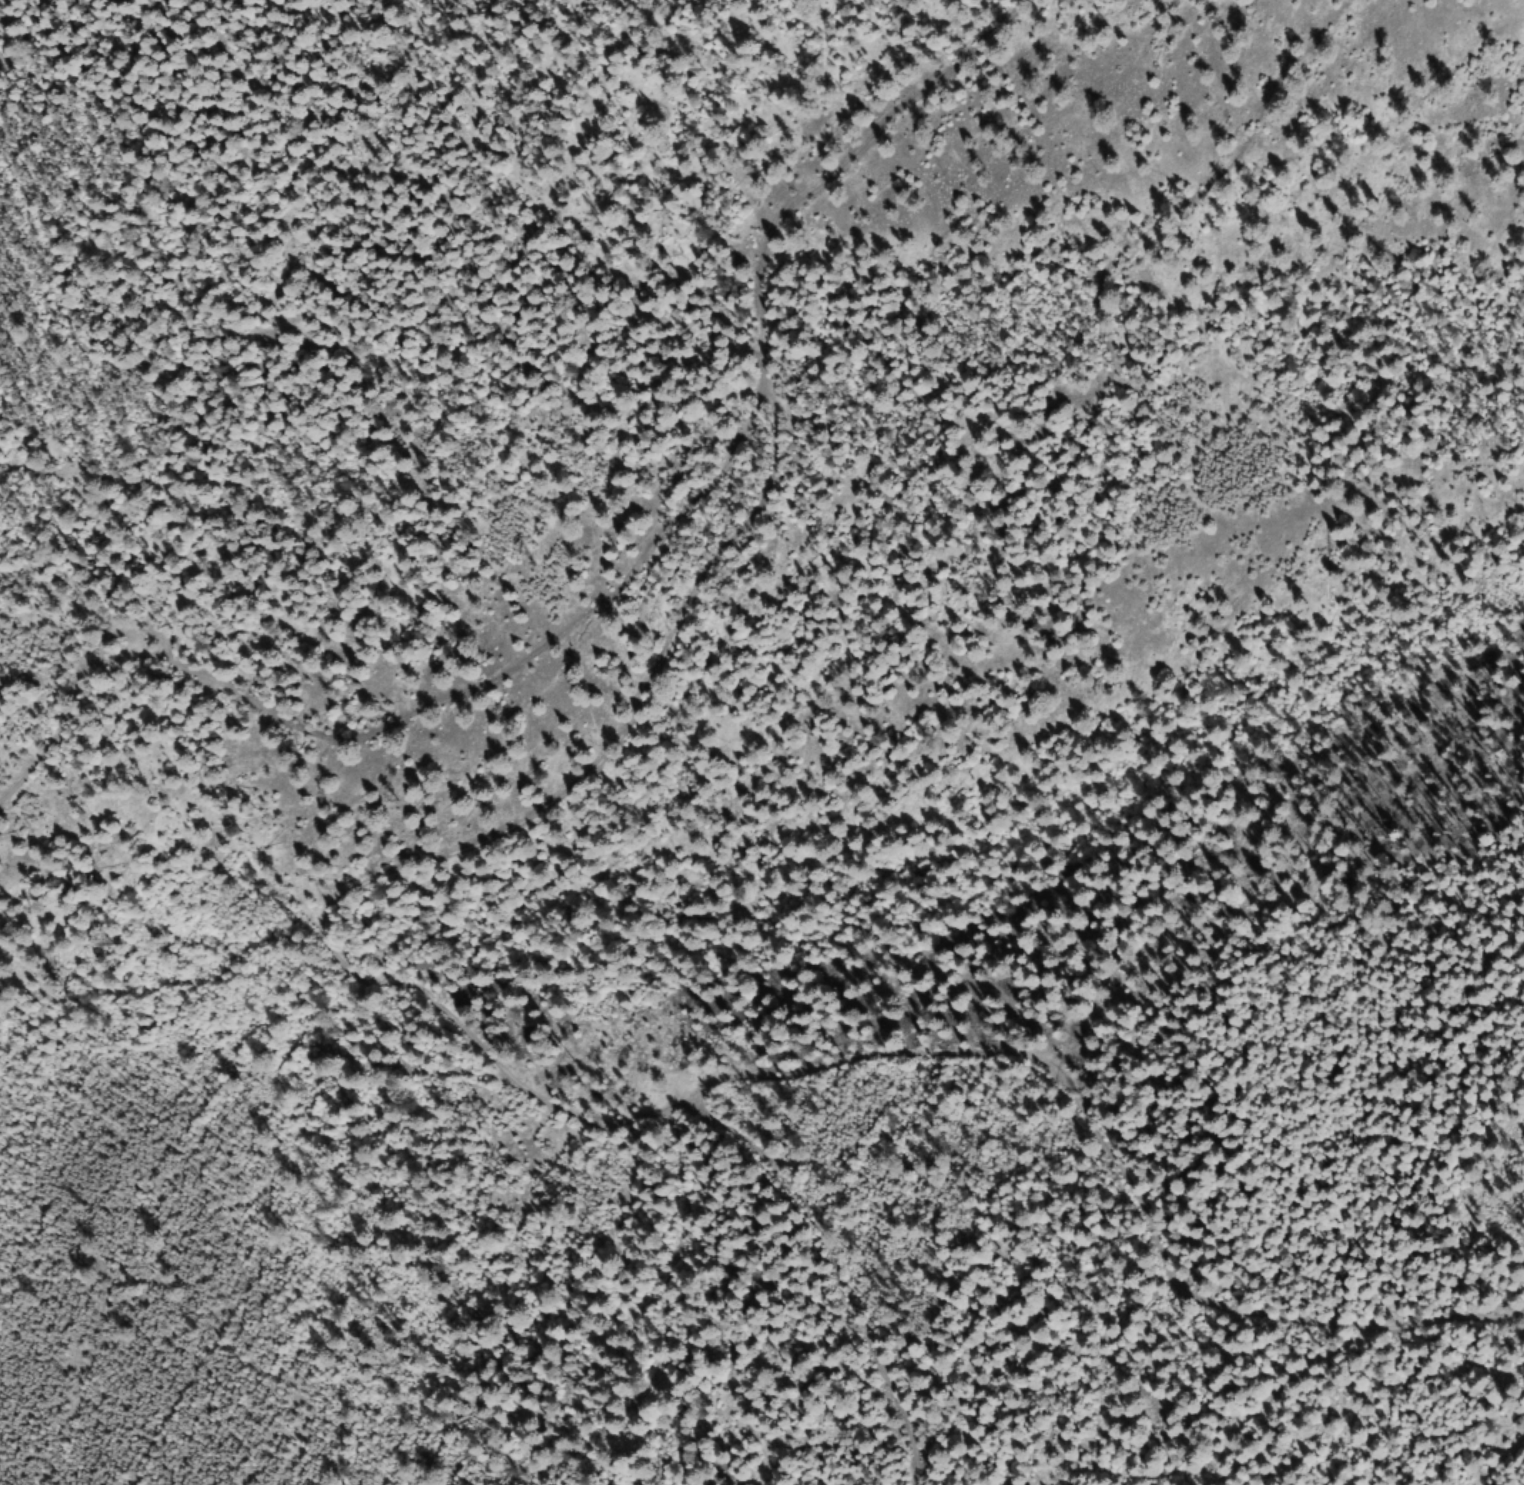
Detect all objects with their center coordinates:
road: (674, 580)
road: (472, 1072)

